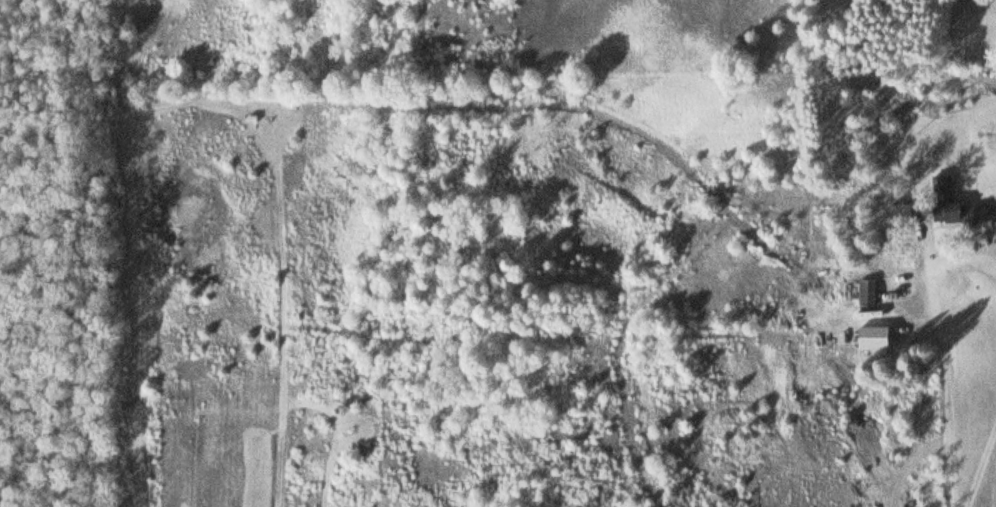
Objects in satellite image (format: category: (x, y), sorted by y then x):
building: (943, 187)
building: (961, 212)
building: (870, 293)
building: (878, 338)
road: (986, 476)

